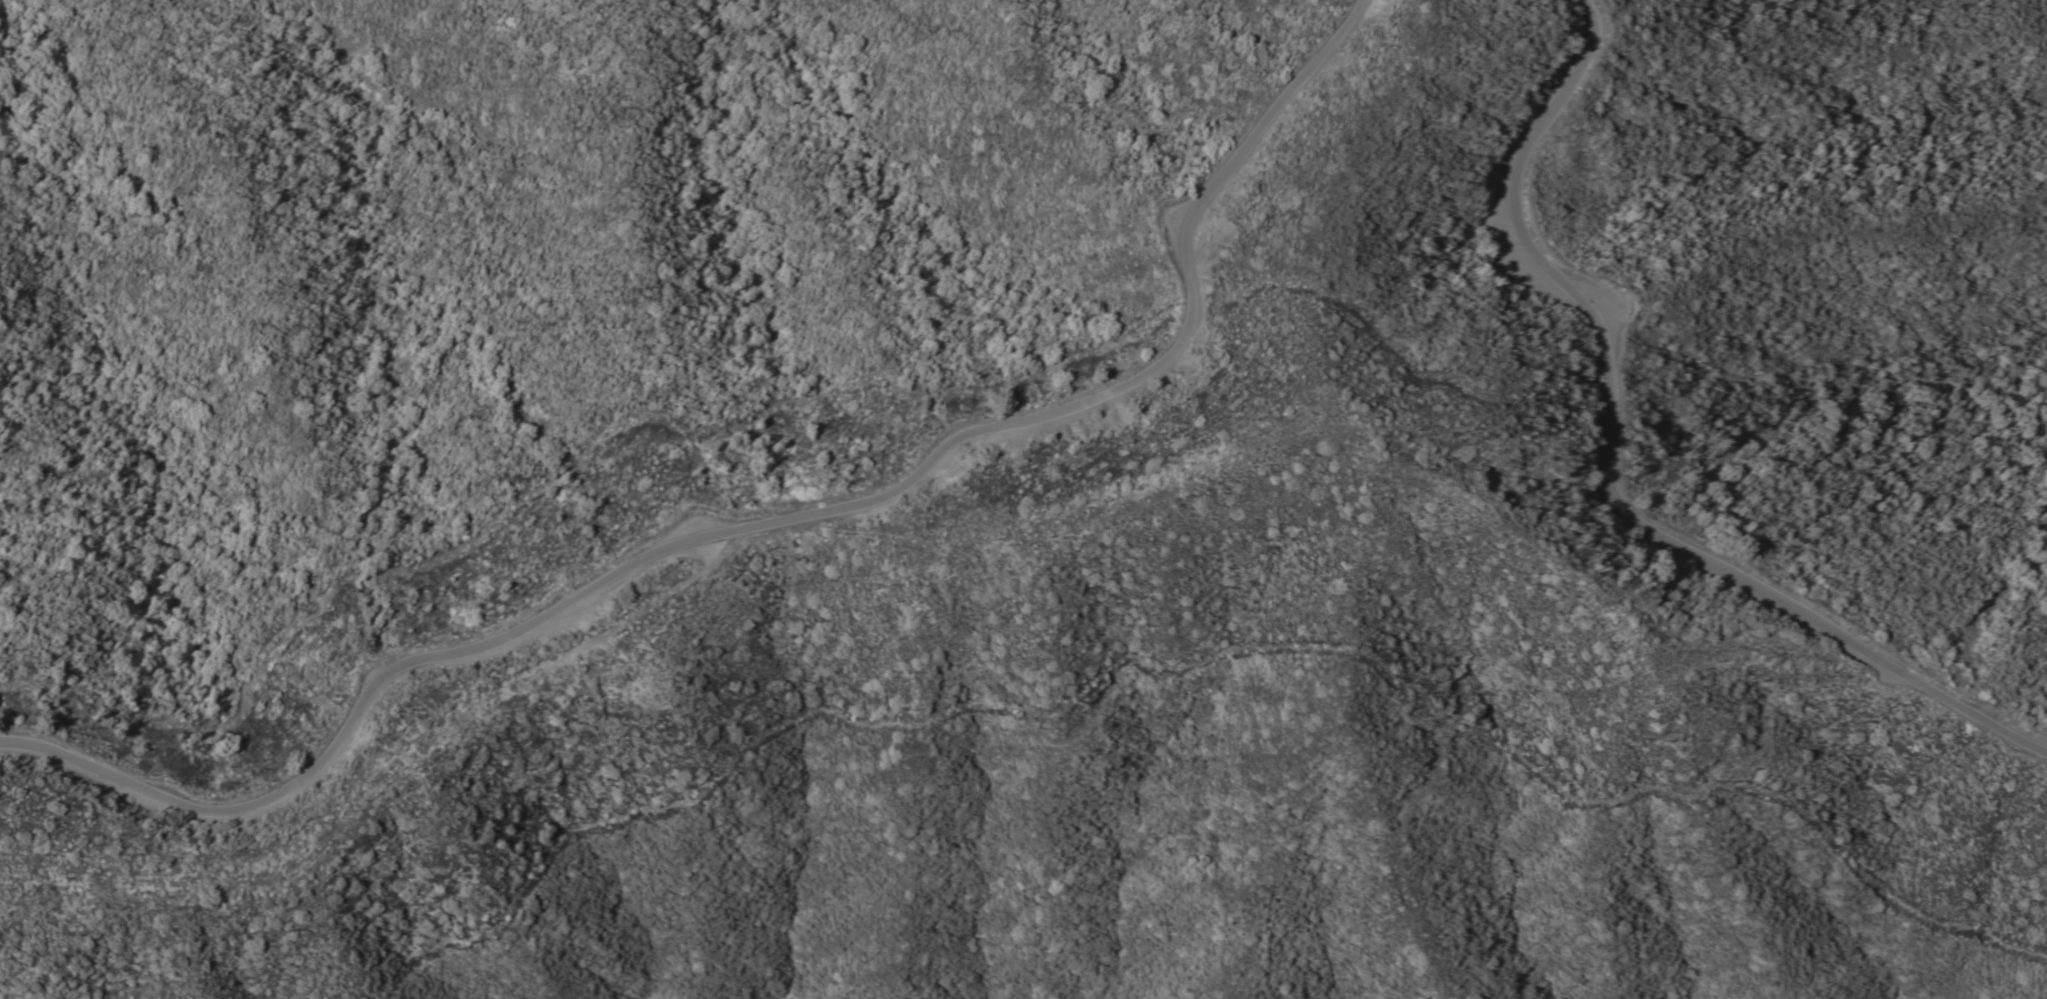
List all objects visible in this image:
road: (1611, 472)
road: (765, 522)
road: (633, 623)

